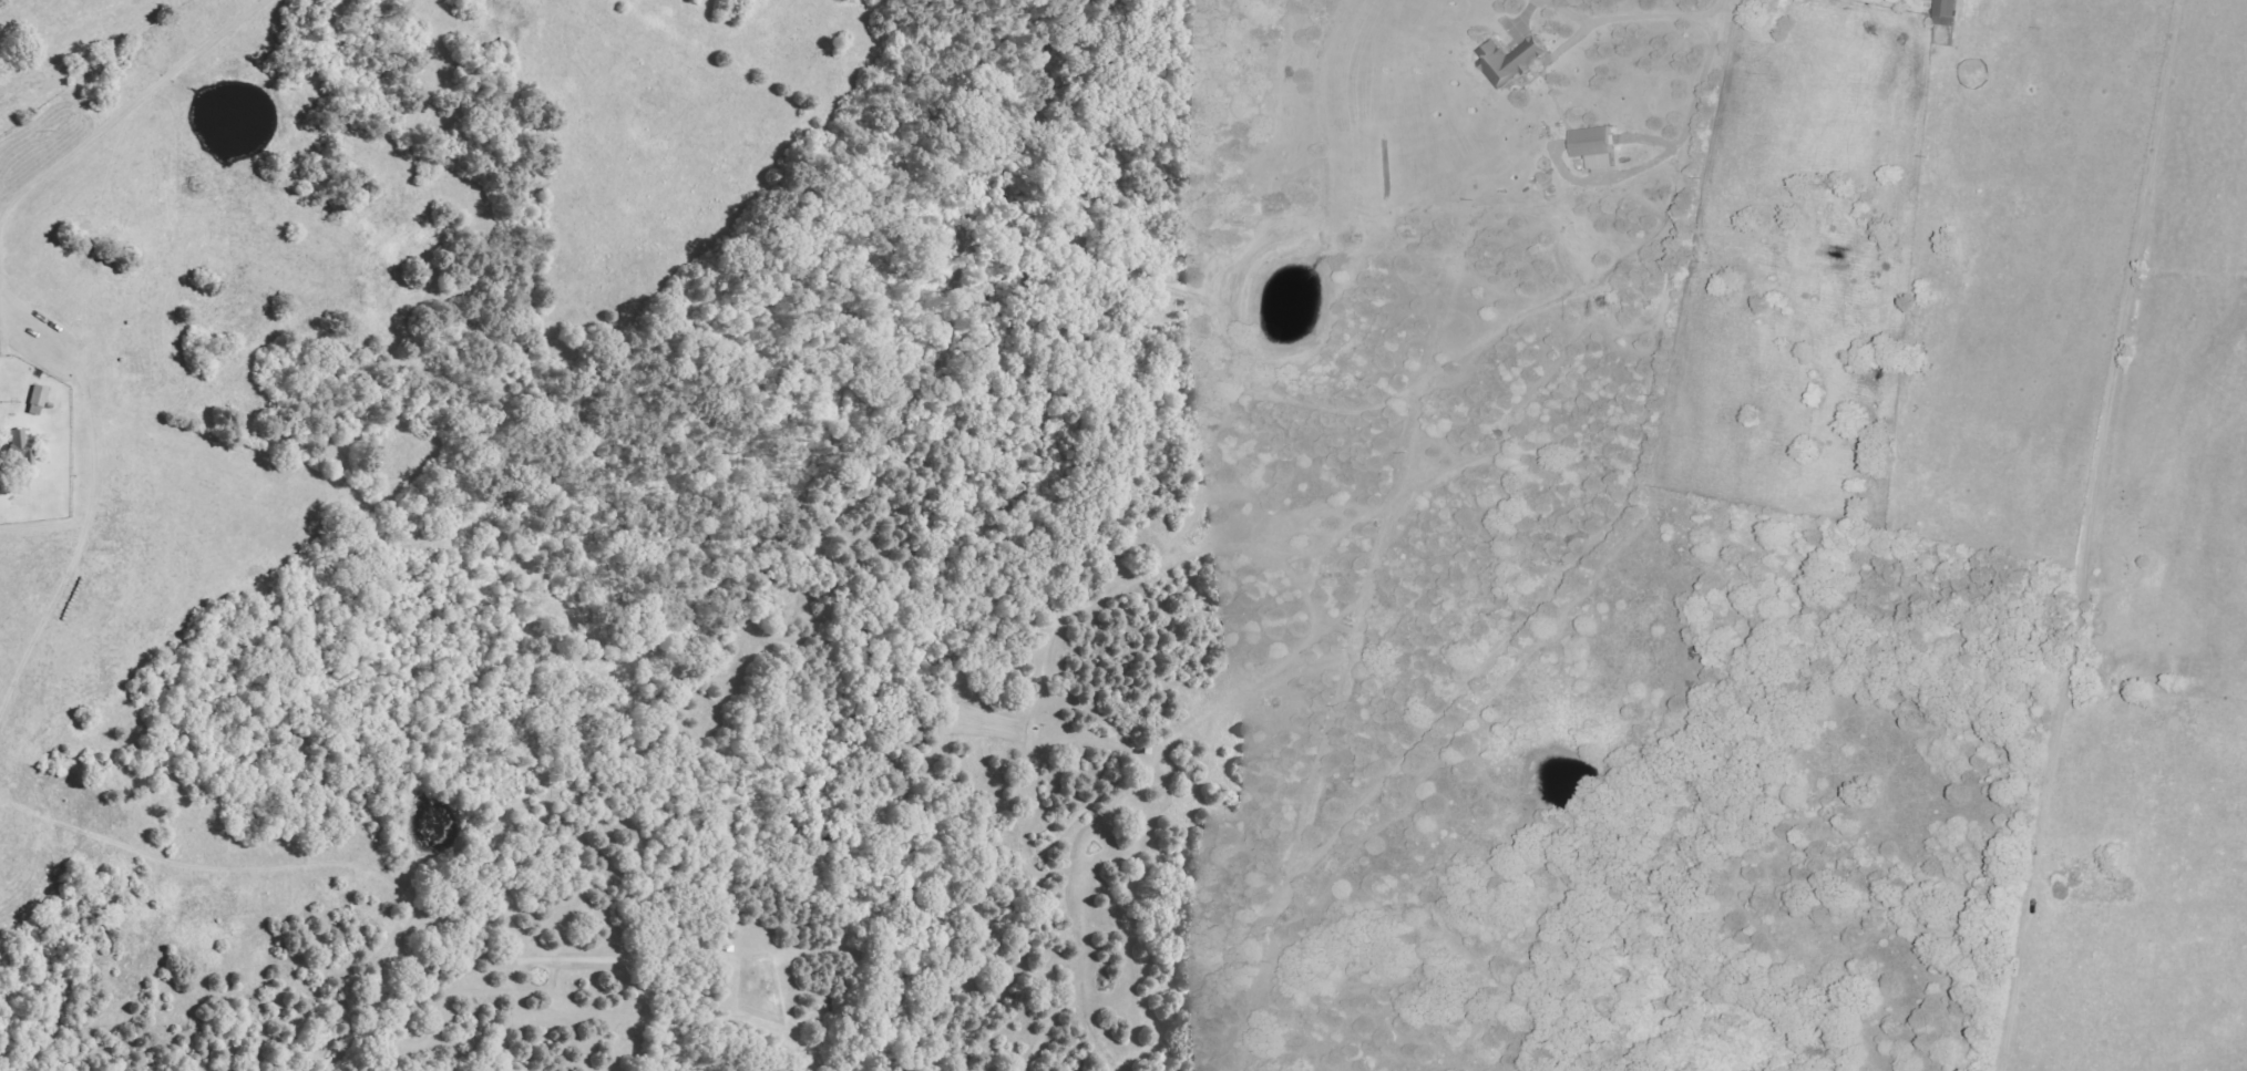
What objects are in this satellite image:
building: (1945, 13)
road: (64, 48)
building: (1509, 62)
building: (1592, 148)
building: (40, 400)

